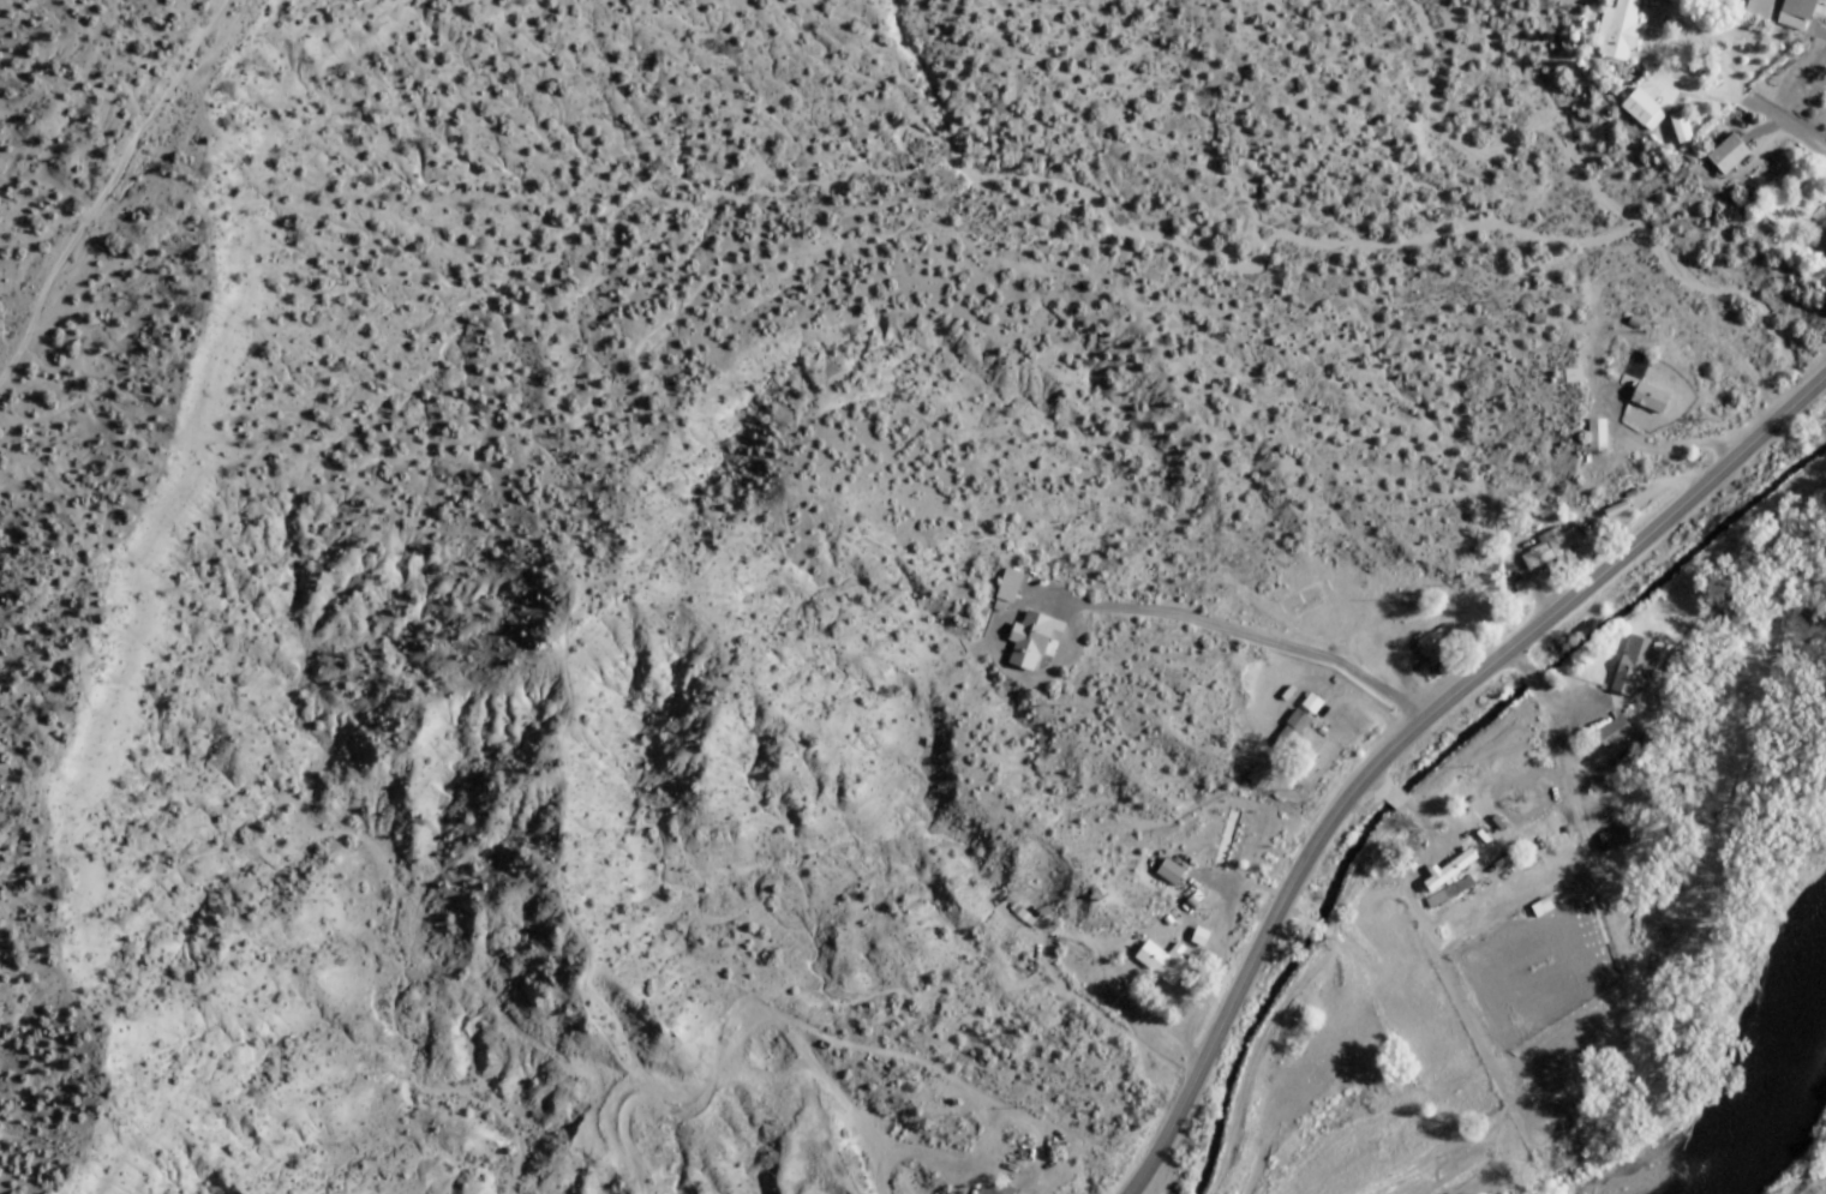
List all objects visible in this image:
building: (1759, 8)
building: (1796, 14)
building: (1617, 30)
building: (1642, 112)
building: (1729, 156)
road: (109, 178)
building: (1822, 230)
building: (1642, 385)
building: (1594, 436)
building: (1550, 551)
building: (1008, 587)
building: (1517, 599)
building: (1031, 641)
building: (1437, 648)
building: (1634, 664)
road: (1545, 694)
building: (1298, 724)
road: (1411, 728)
building: (1614, 732)
road: (1431, 812)
building: (1225, 839)
building: (1612, 839)
building: (1447, 870)
building: (1173, 875)
road: (1545, 888)
building: (1449, 892)
building: (1539, 907)
road: (1289, 913)
road: (1336, 917)
road: (1316, 926)
road: (1335, 936)
building: (1199, 938)
building: (1162, 962)
road: (756, 1018)
road: (831, 1084)
river: (1773, 1098)
road: (1037, 1136)
road: (910, 1151)
building: (995, 1189)

